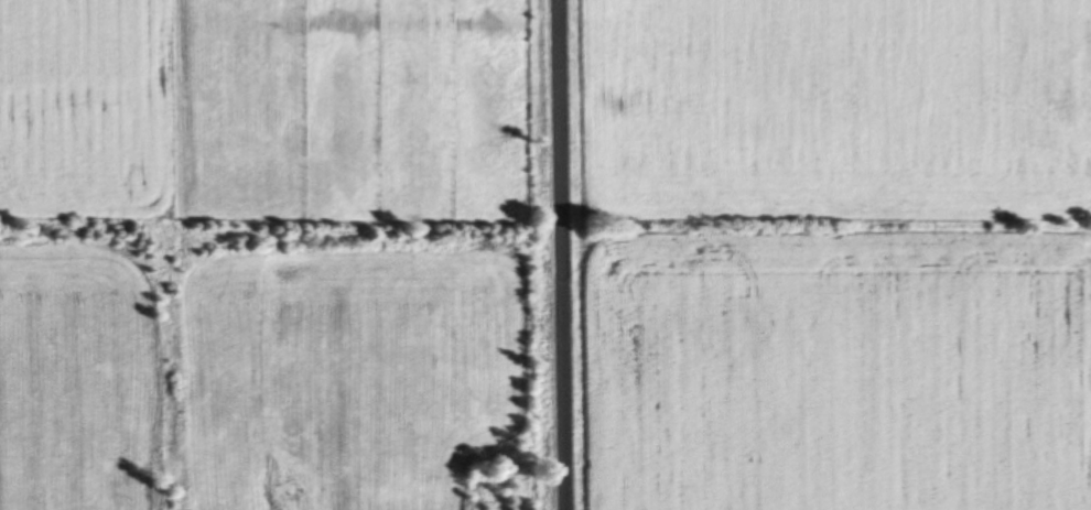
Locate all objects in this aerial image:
road: (562, 254)

